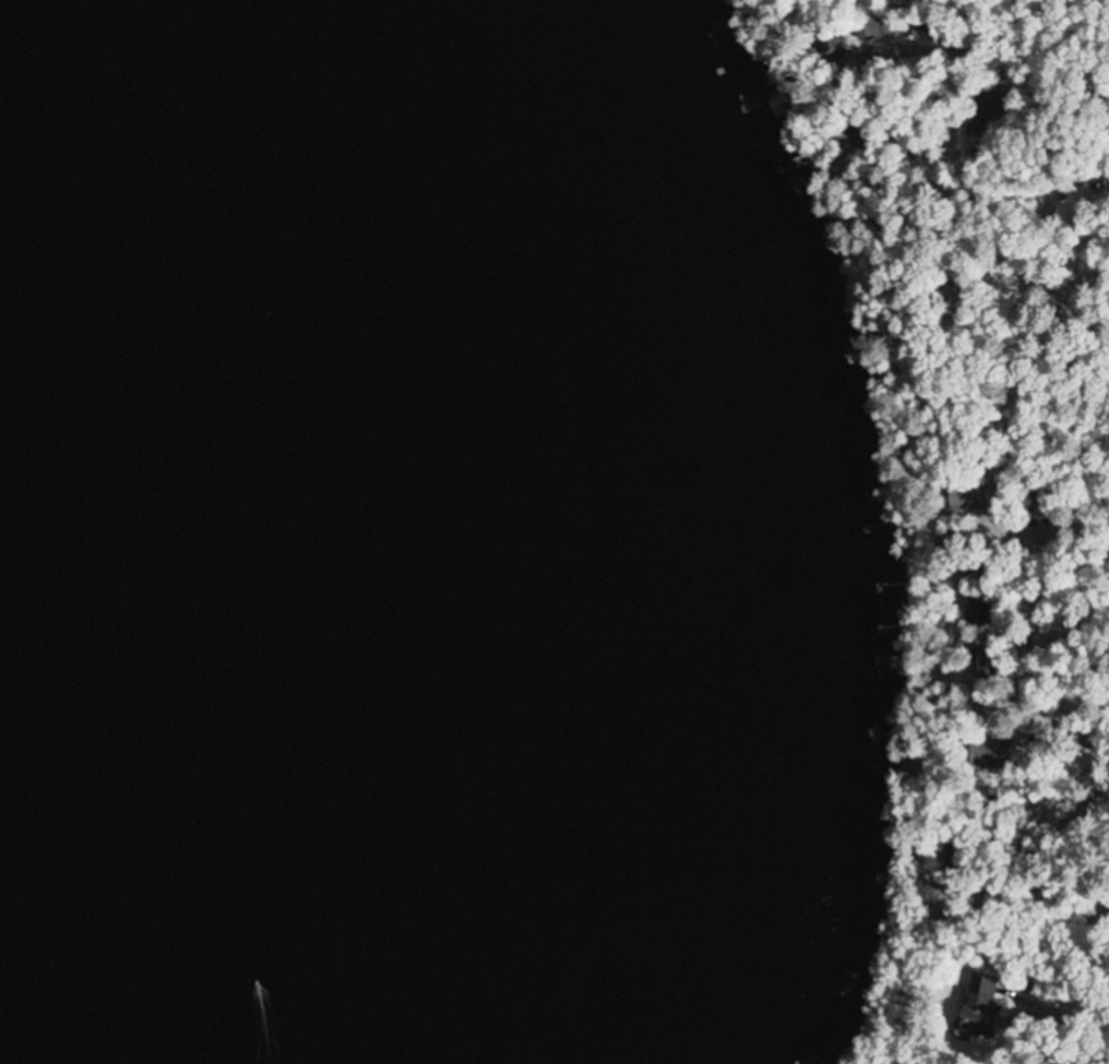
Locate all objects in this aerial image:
road: (1001, 38)
building: (1078, 201)
road: (1036, 442)
building: (969, 497)
building: (978, 613)
road: (1089, 620)
road: (930, 713)
building: (1077, 743)
building: (989, 754)
road: (1062, 999)
building: (978, 1004)

